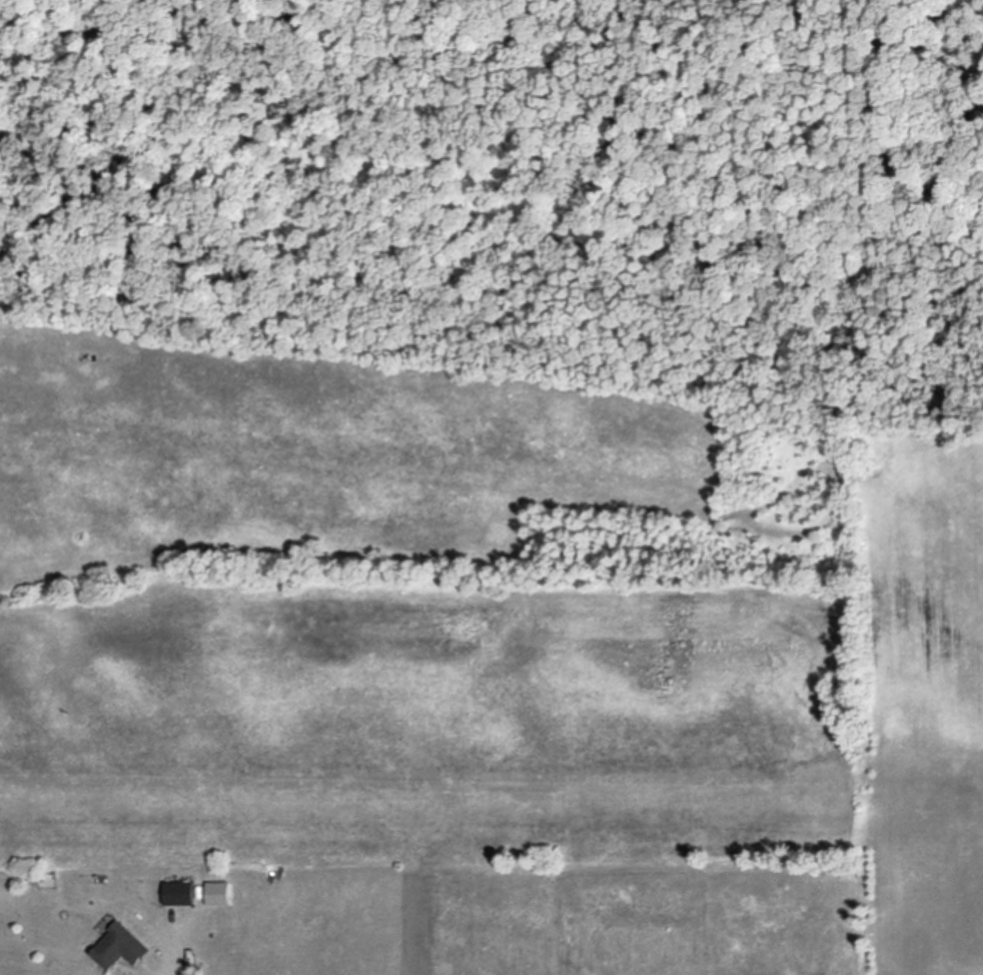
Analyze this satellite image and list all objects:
building: (179, 895)
building: (219, 896)
building: (120, 950)

